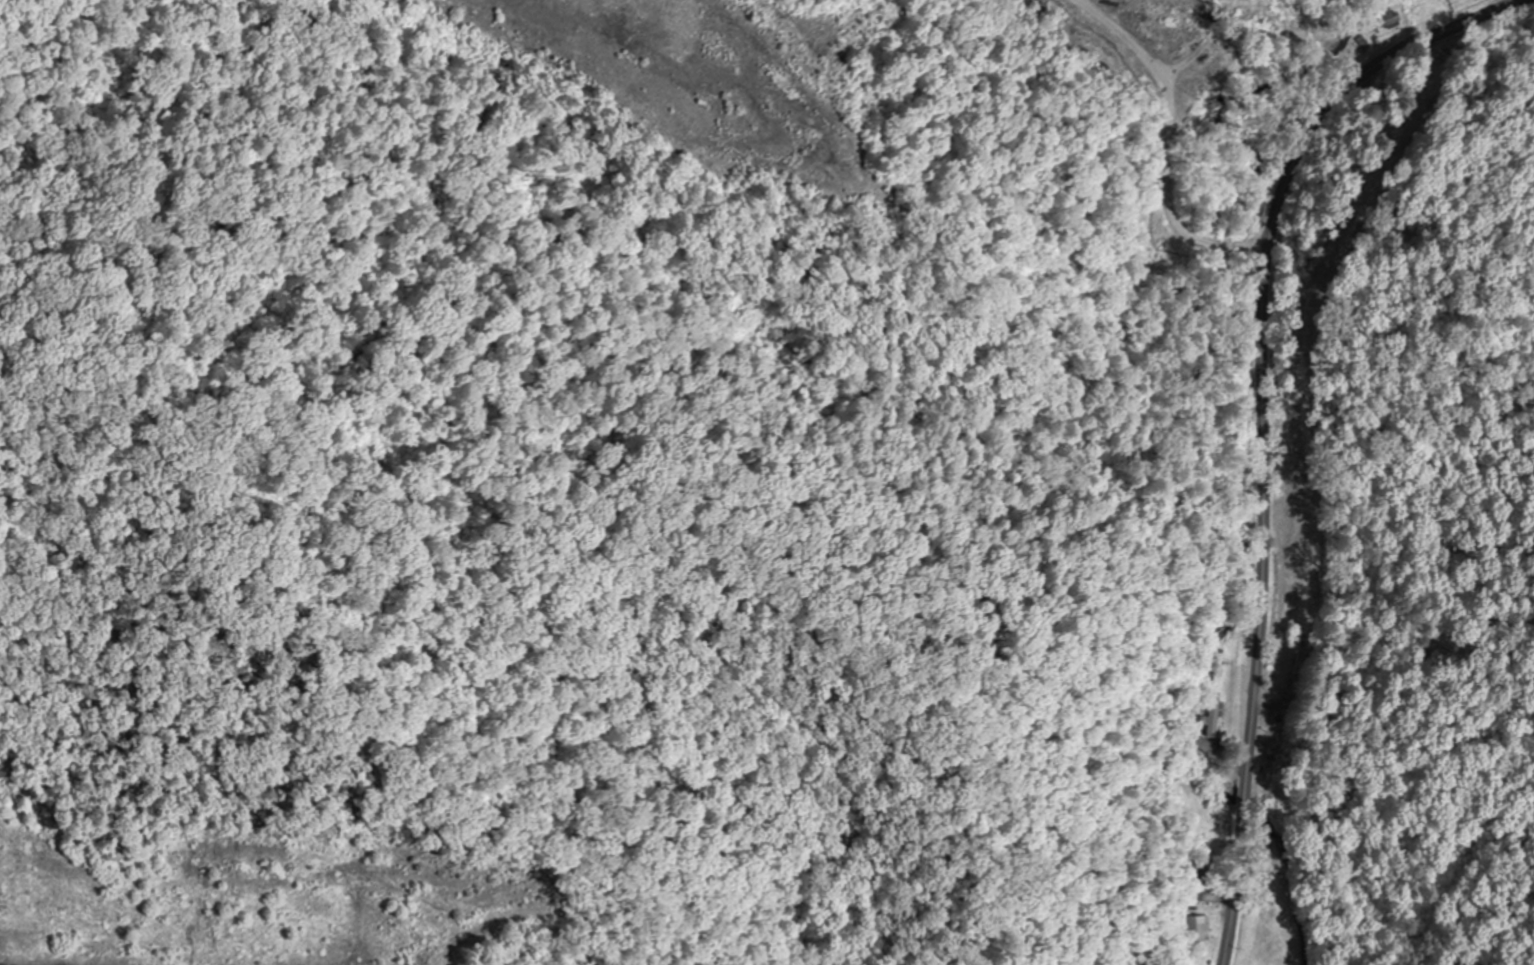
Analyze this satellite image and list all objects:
road: (1263, 416)
building: (1296, 586)
building: (1291, 671)

